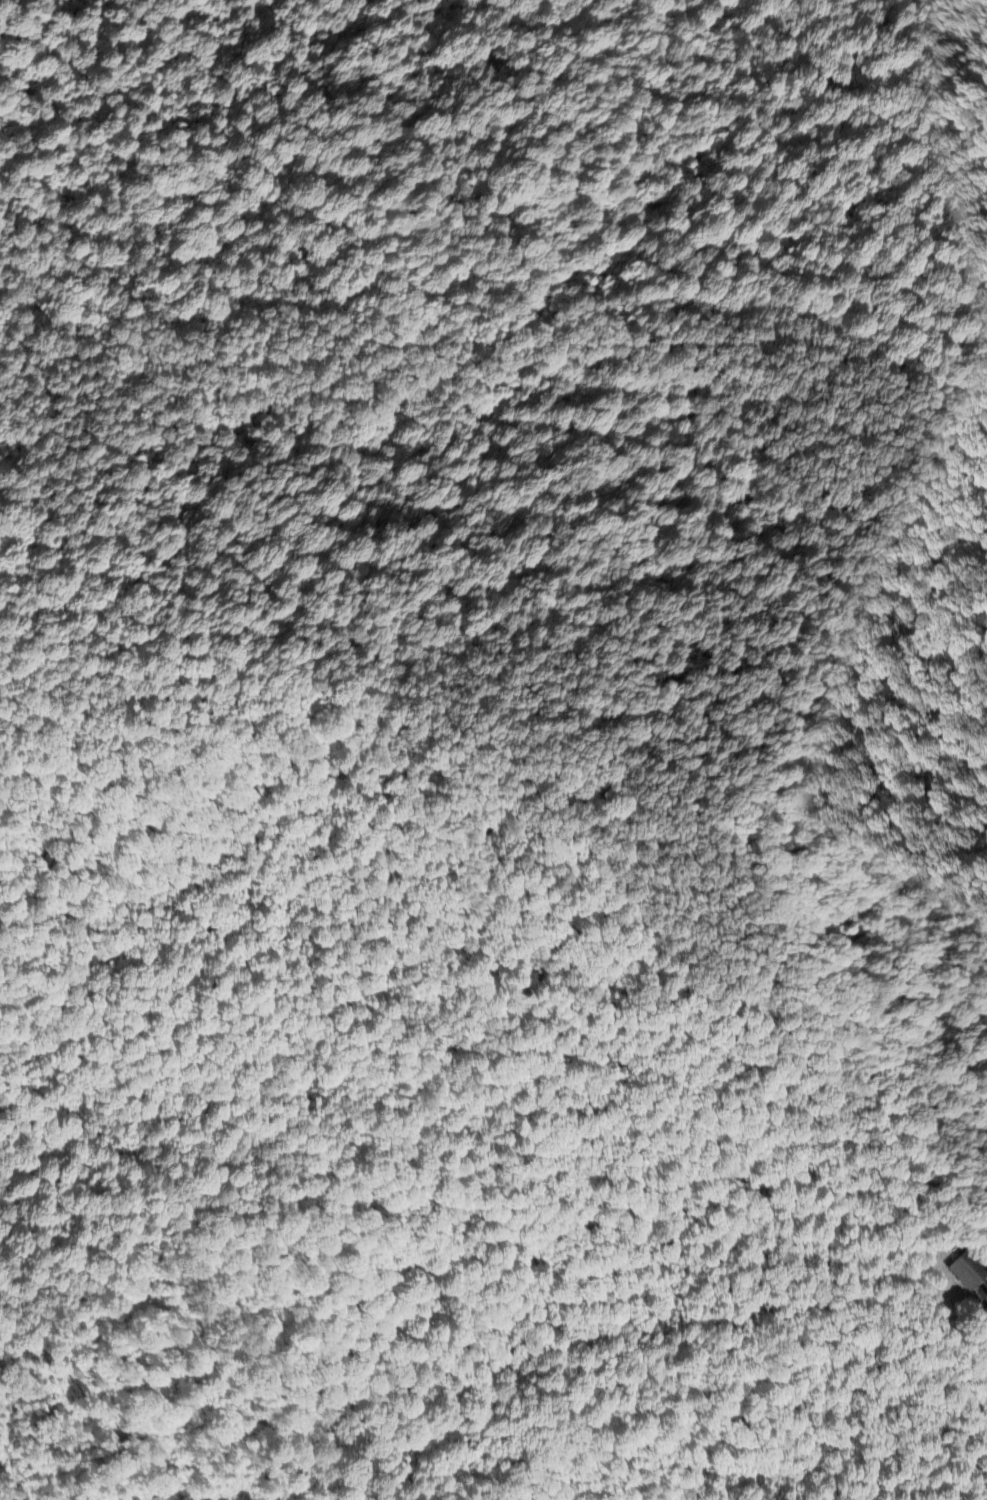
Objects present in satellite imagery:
building: (963, 1271)

